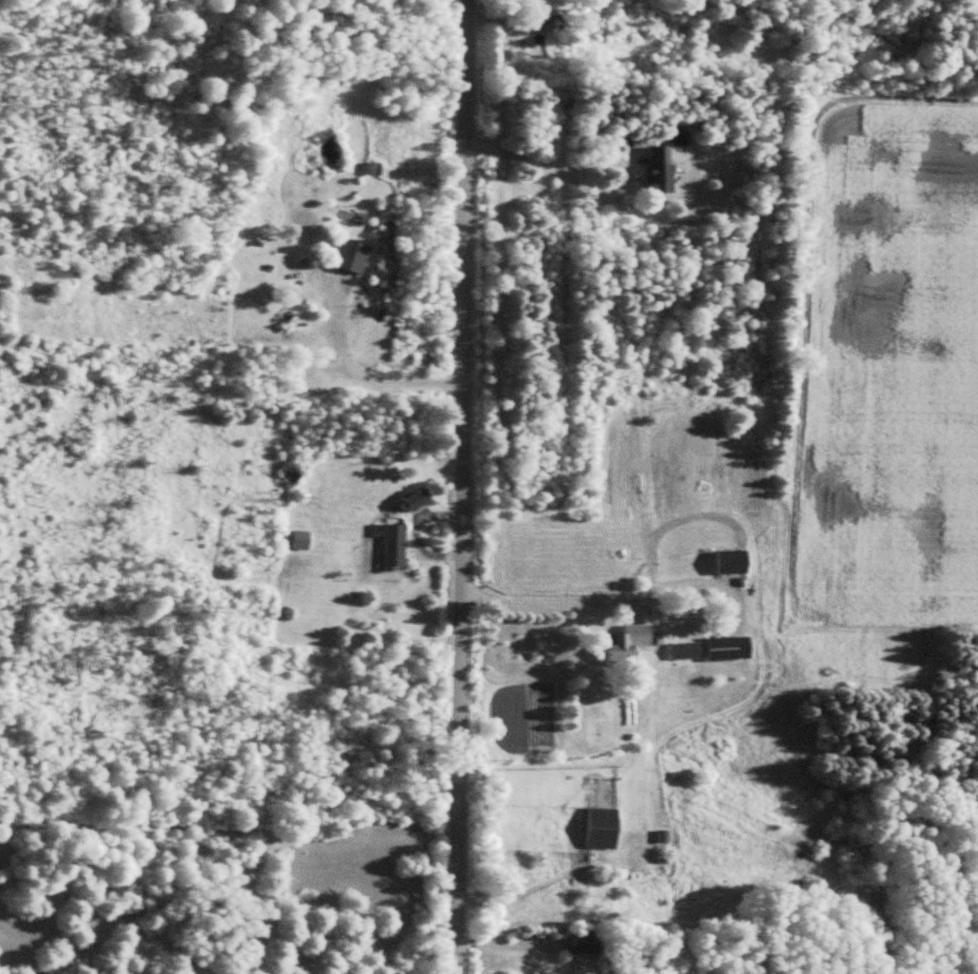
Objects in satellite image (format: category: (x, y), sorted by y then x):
building: (554, 23)
road: (548, 161)
building: (661, 170)
building: (294, 316)
road: (372, 372)
road: (464, 487)
building: (421, 501)
building: (301, 540)
building: (396, 546)
road: (558, 599)
building: (628, 643)
building: (730, 647)
building: (686, 650)
building: (604, 827)
building: (588, 942)

